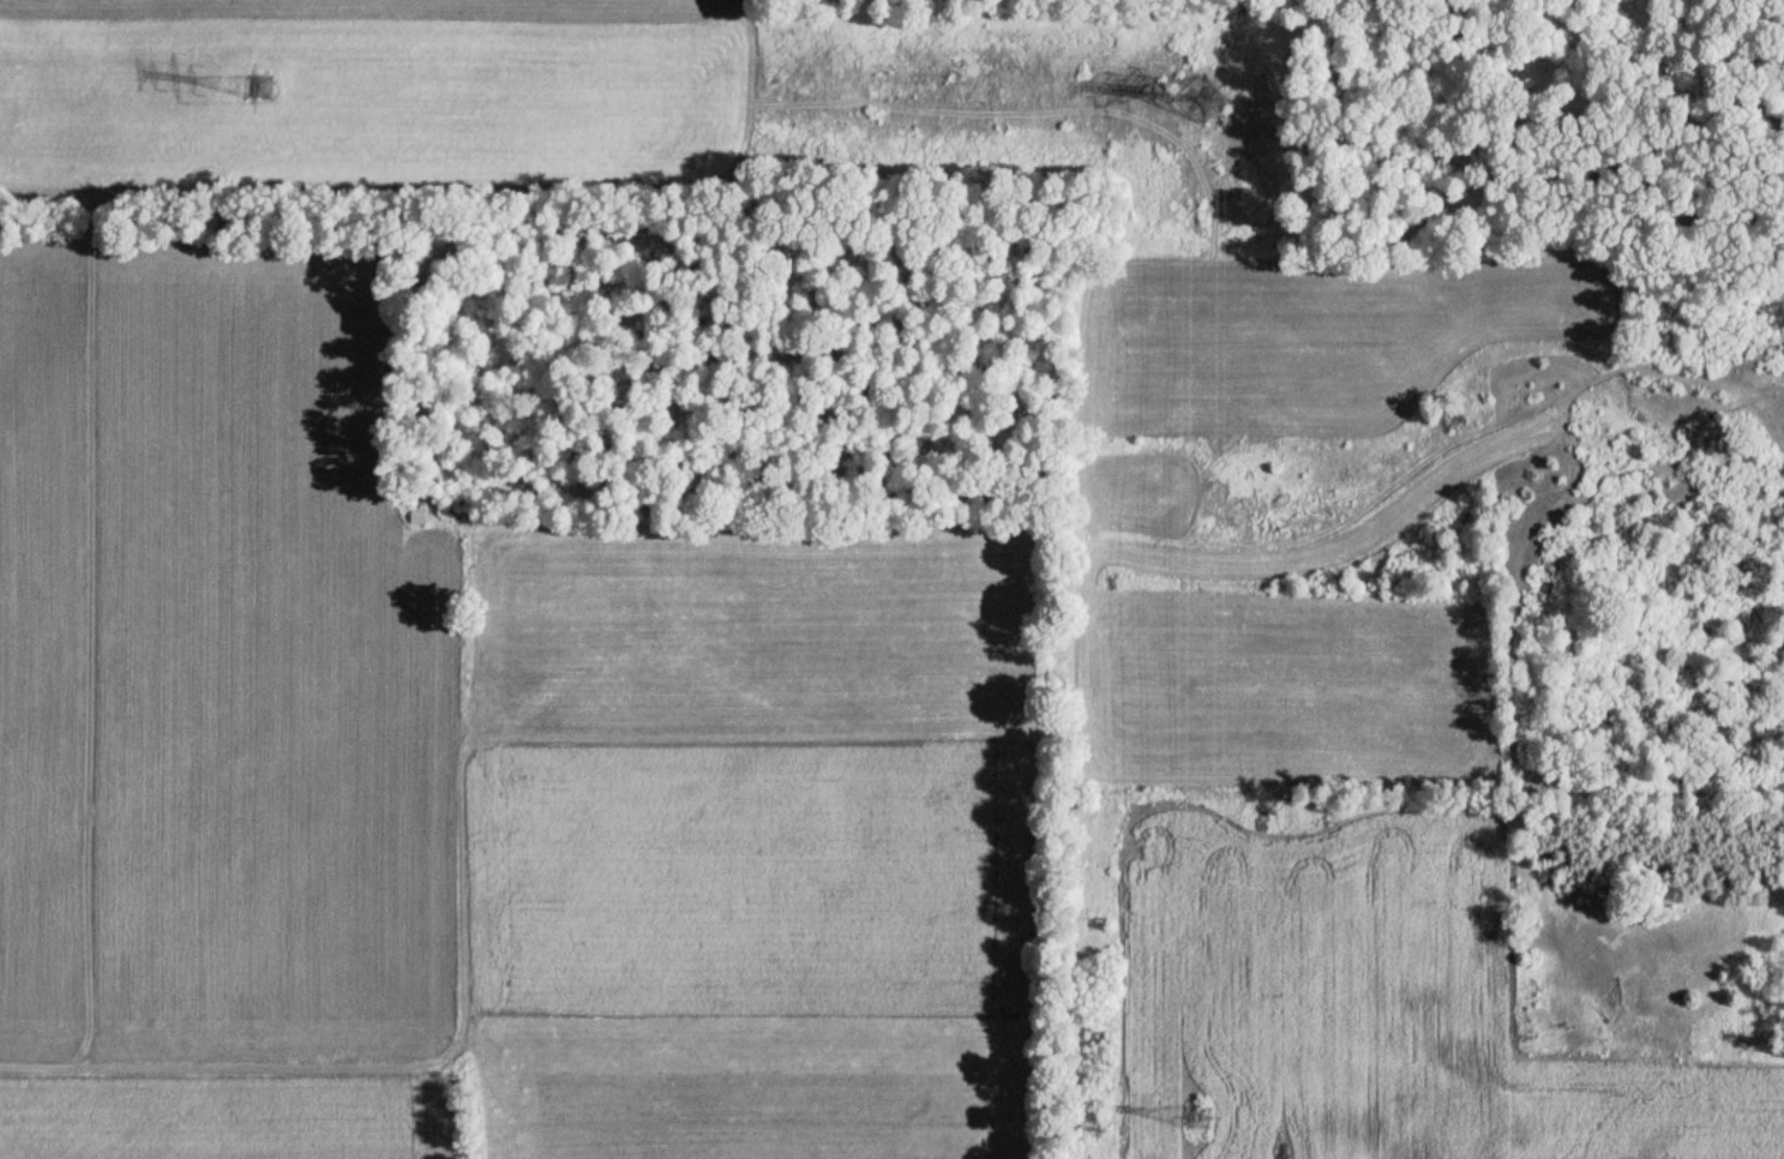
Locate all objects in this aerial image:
power tower: (262, 83)
power tower: (1208, 92)
power tower: (1200, 1115)

